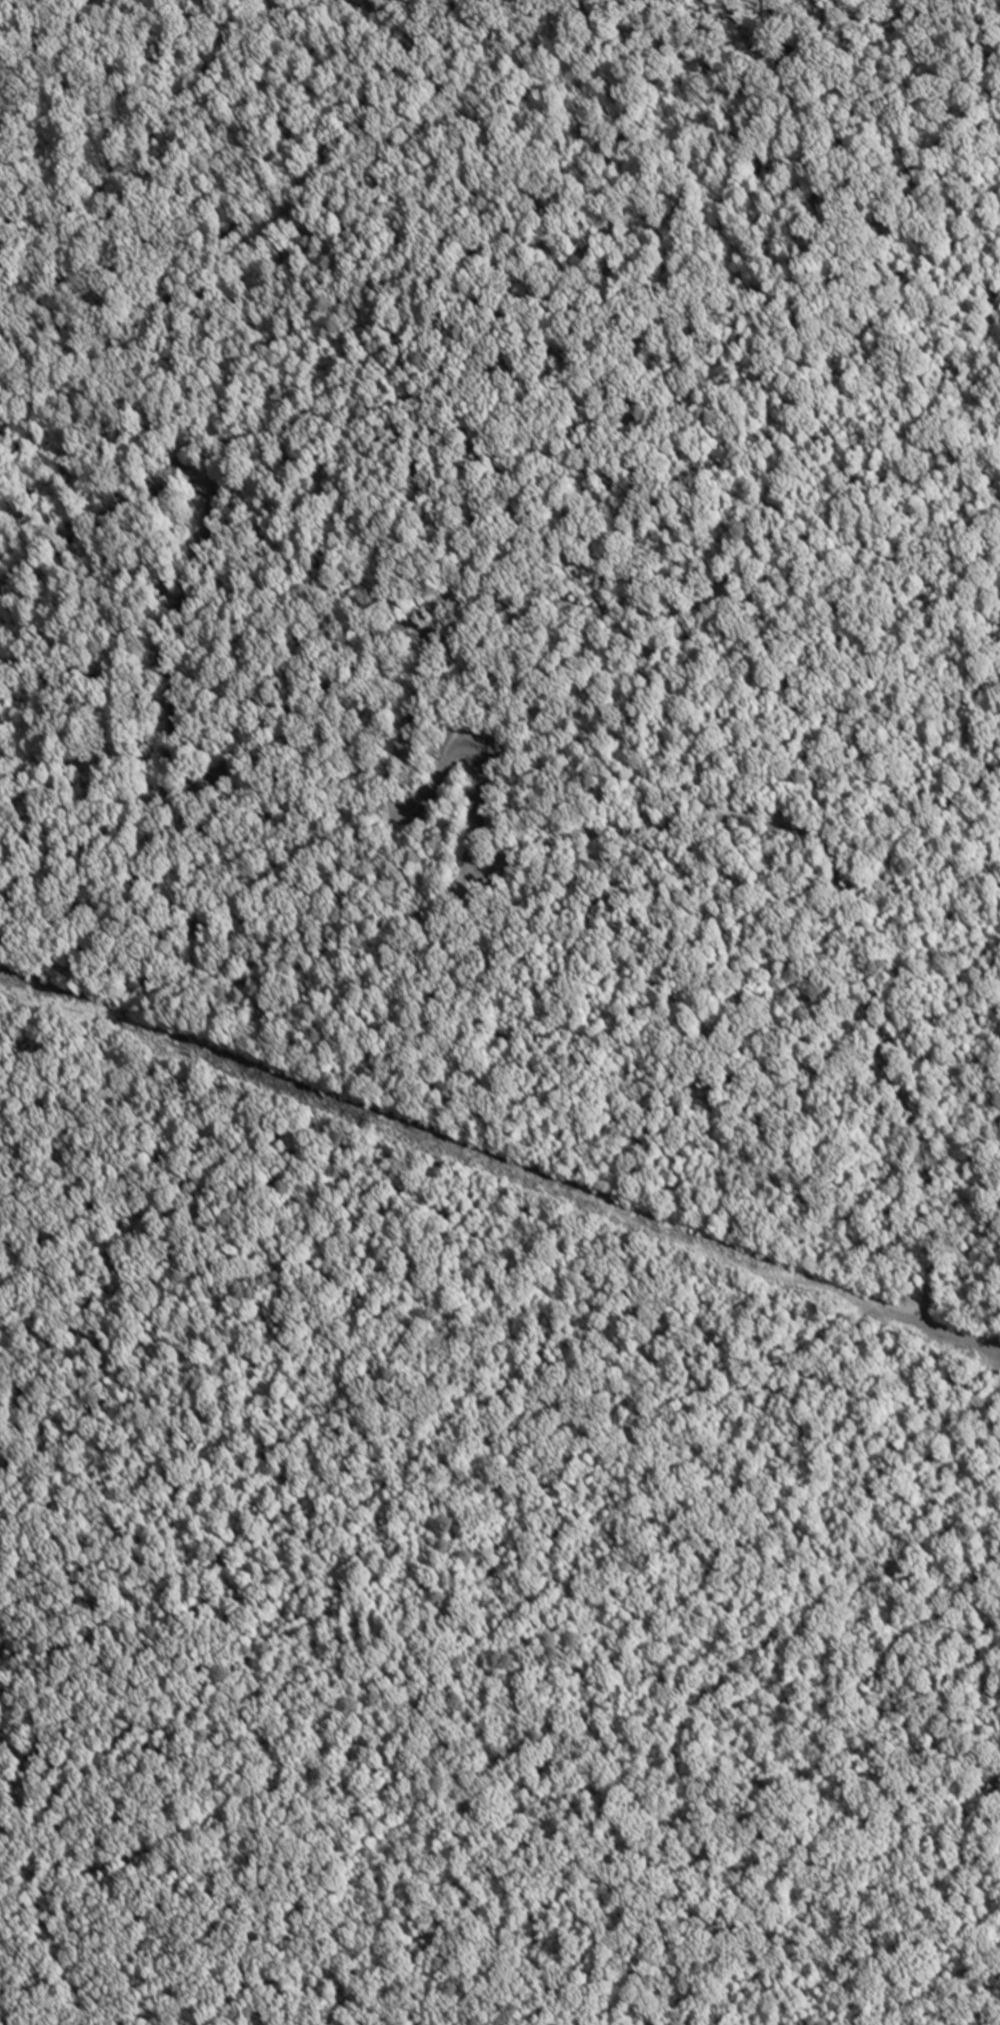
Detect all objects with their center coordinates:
road: (428, 791)

